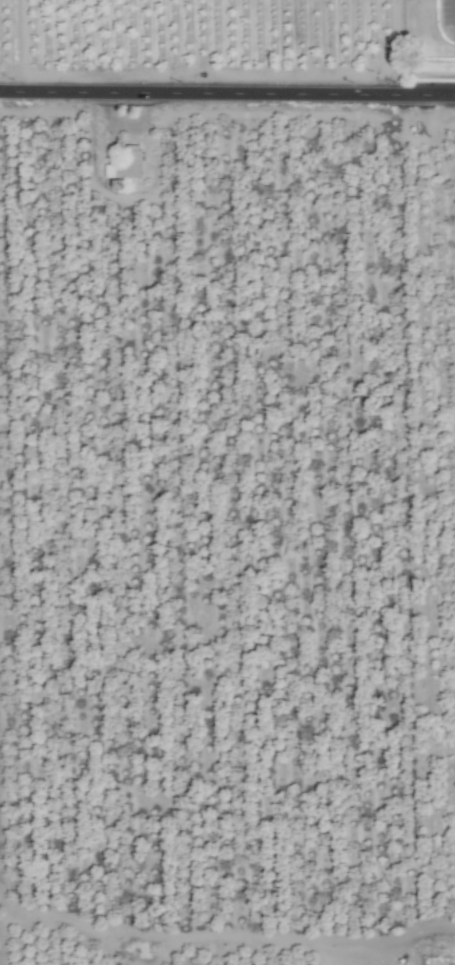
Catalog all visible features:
road: (452, 11)
road: (227, 94)
building: (122, 164)

